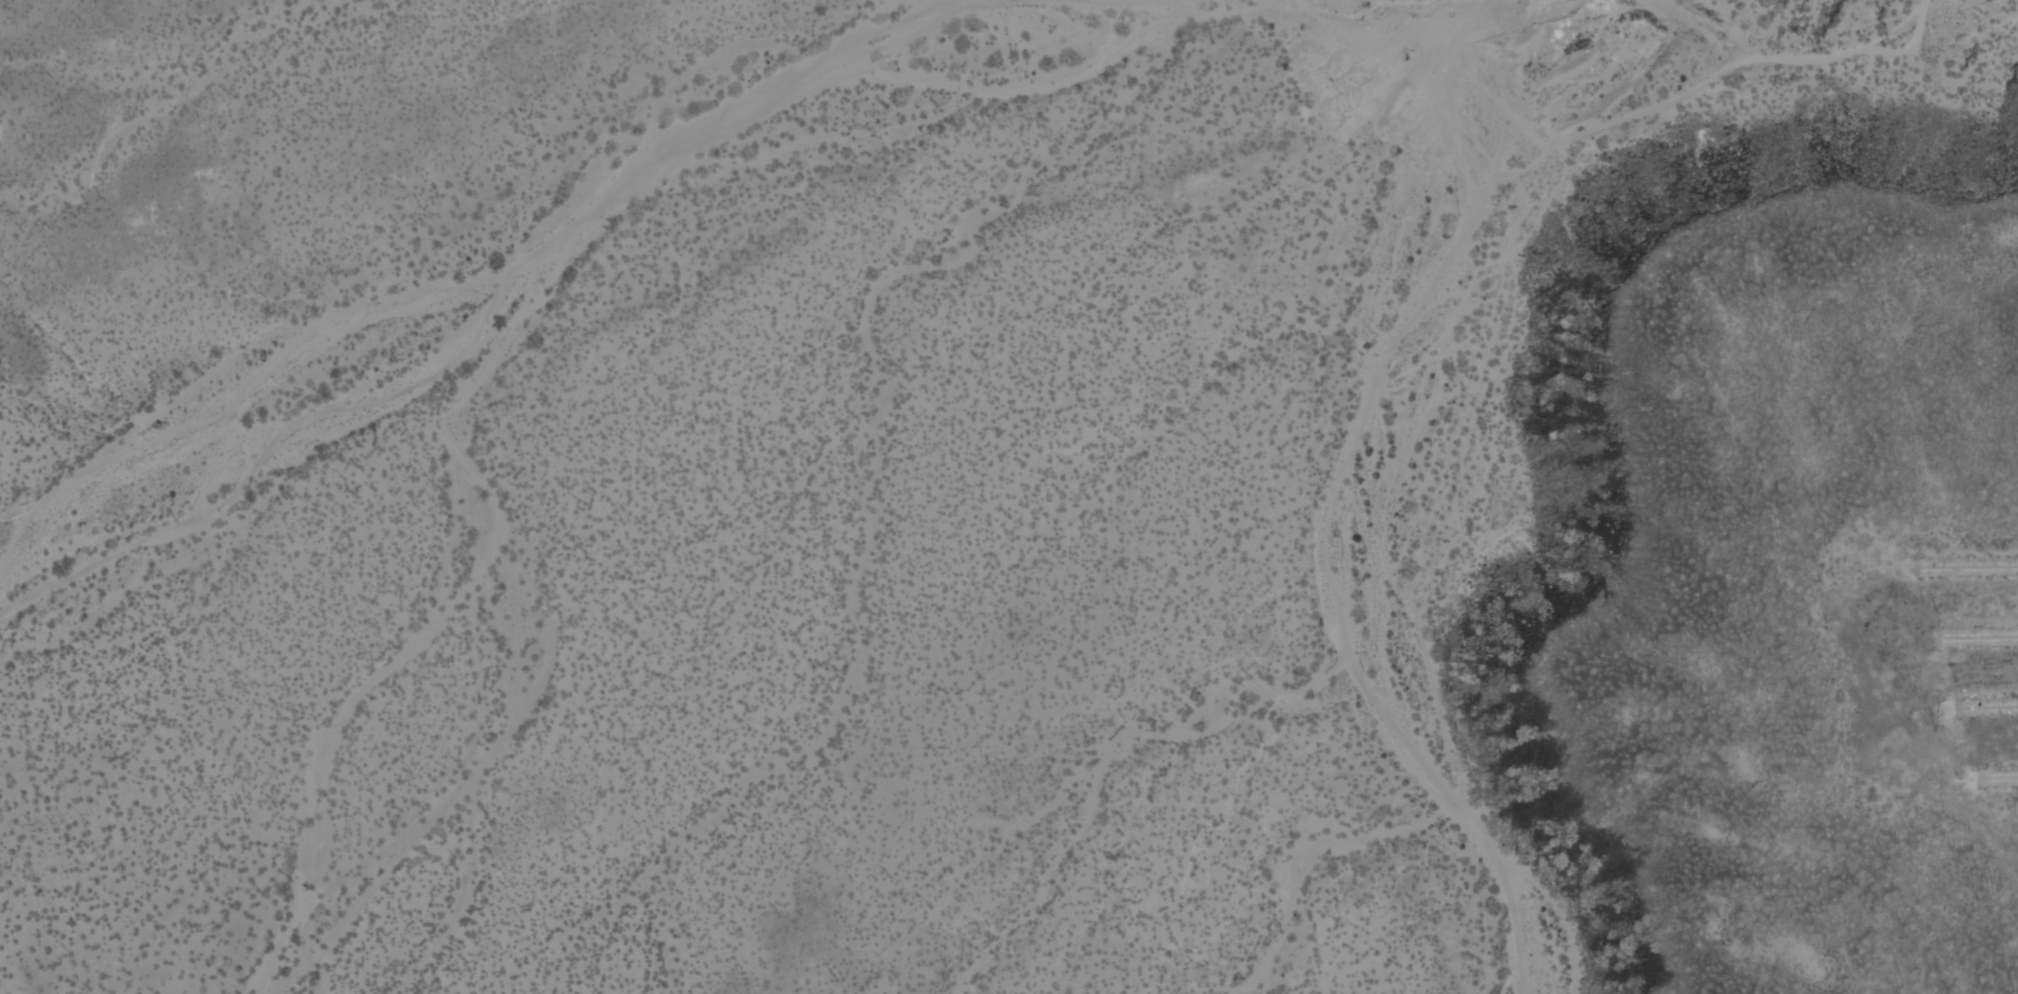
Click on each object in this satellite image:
road: (1969, 818)

